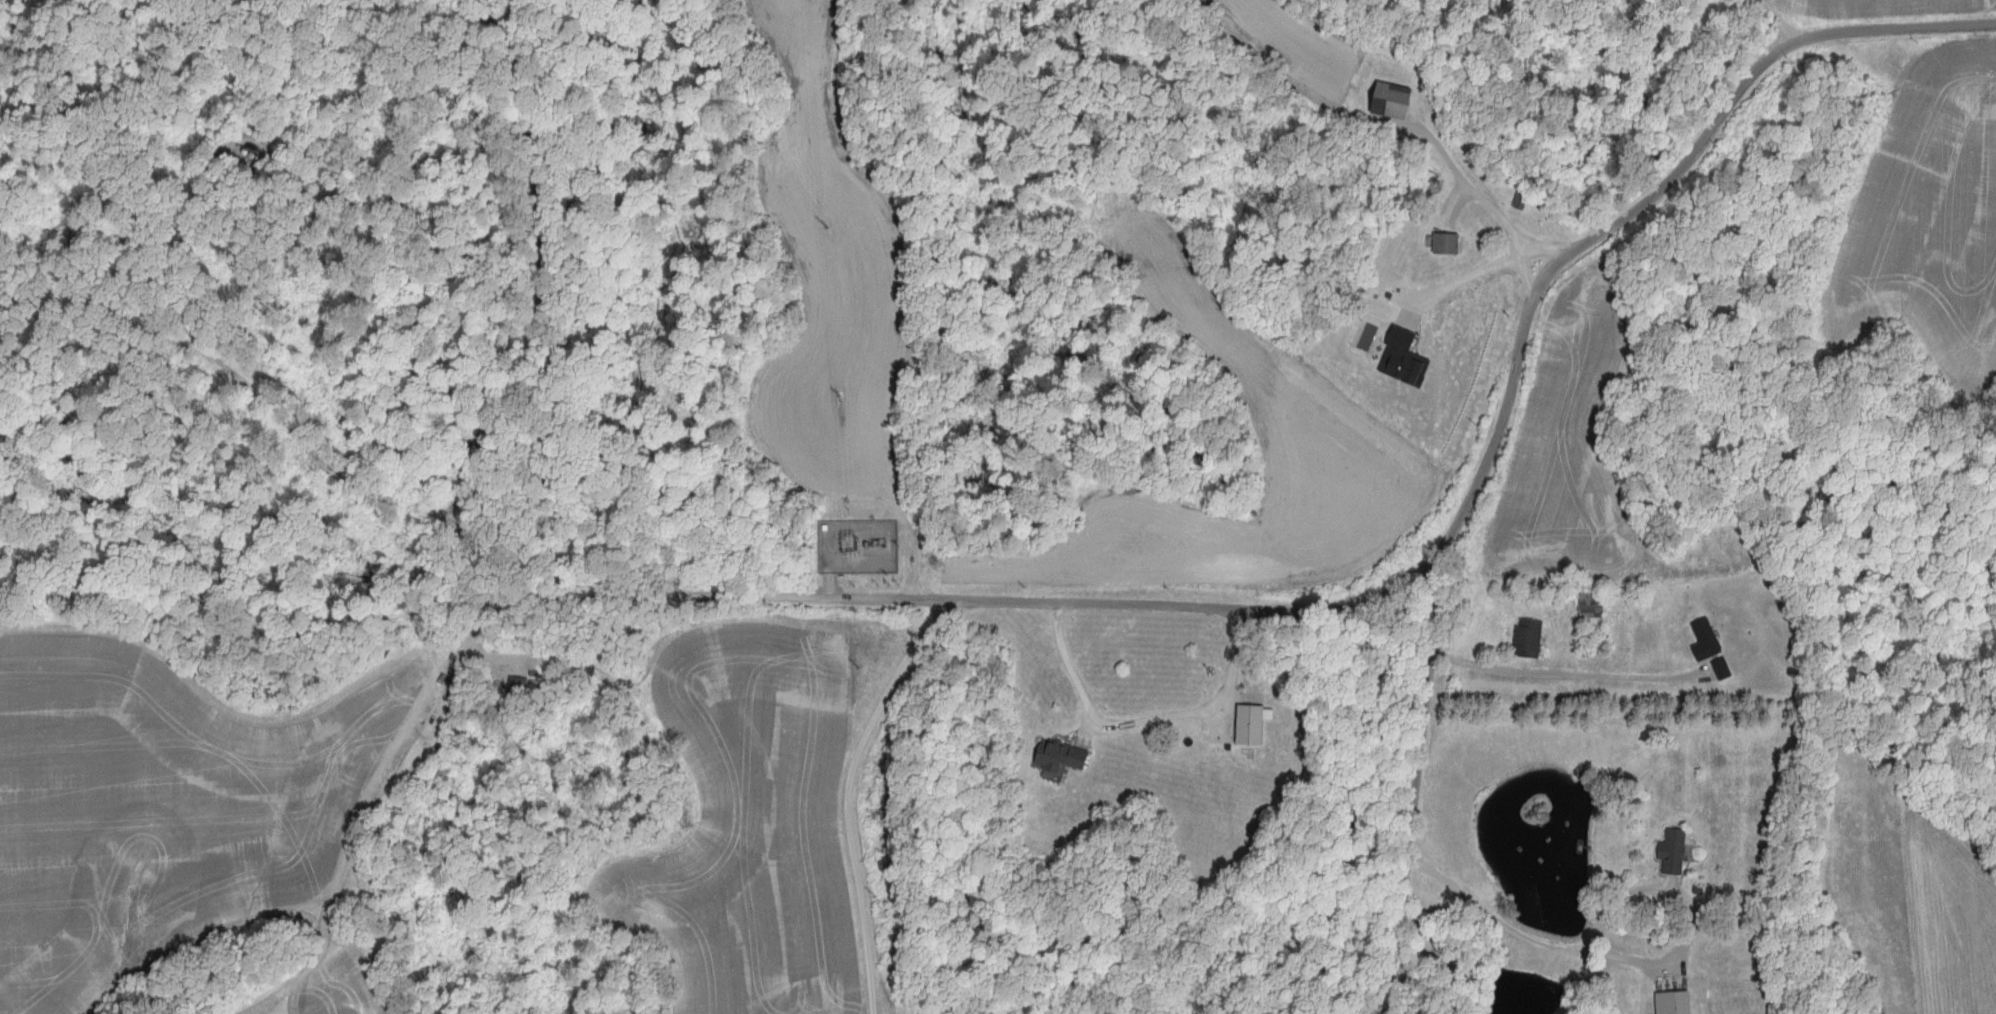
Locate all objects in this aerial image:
building: (1392, 102)
building: (1469, 263)
road: (1488, 263)
road: (1513, 379)
road: (833, 564)
road: (961, 601)
building: (1592, 604)
building: (1529, 639)
building: (1707, 641)
road: (1559, 674)
road: (1143, 723)
building: (1251, 725)
building: (1059, 756)
road: (848, 791)
crop: (179, 797)
building: (1674, 851)
road: (1532, 942)
crop: (337, 983)
building: (1674, 1003)

